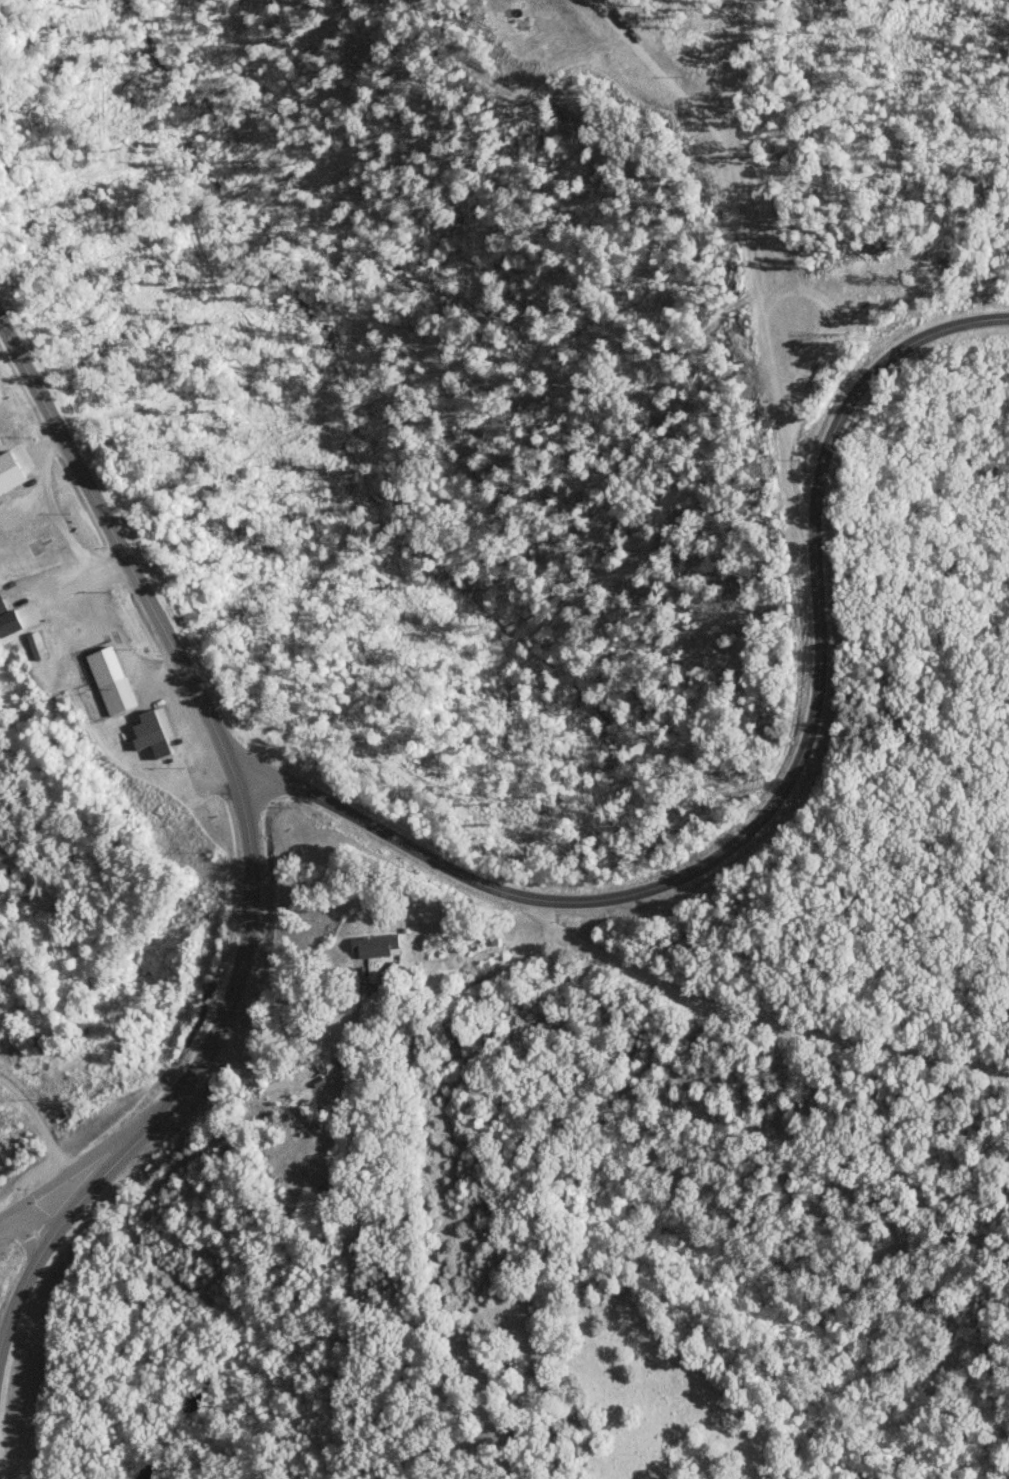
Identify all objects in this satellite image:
building: (12, 470)
road: (119, 546)
building: (9, 619)
building: (38, 645)
building: (118, 695)
building: (154, 732)
road: (786, 801)
building: (377, 944)
road: (762, 1020)
road: (184, 1080)
building: (293, 1080)
road: (45, 1134)
road: (37, 1212)

